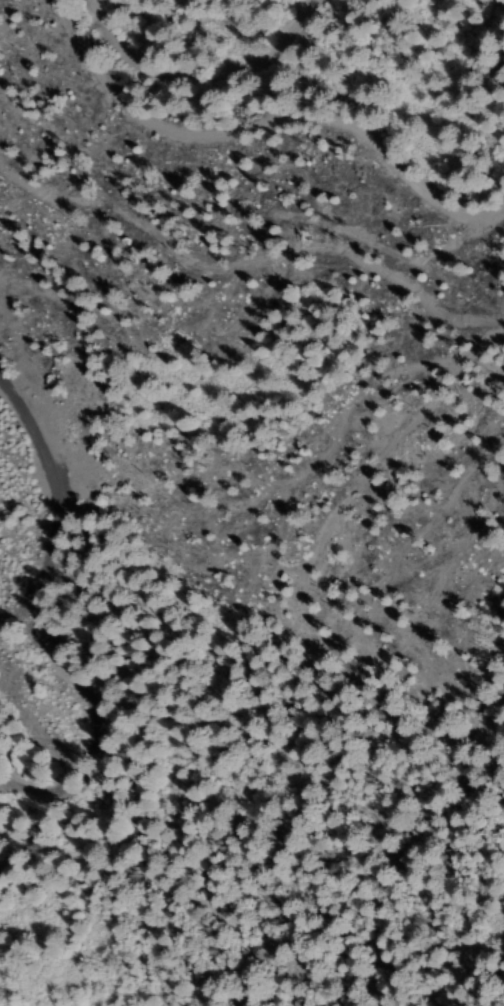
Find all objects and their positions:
road: (269, 123)

